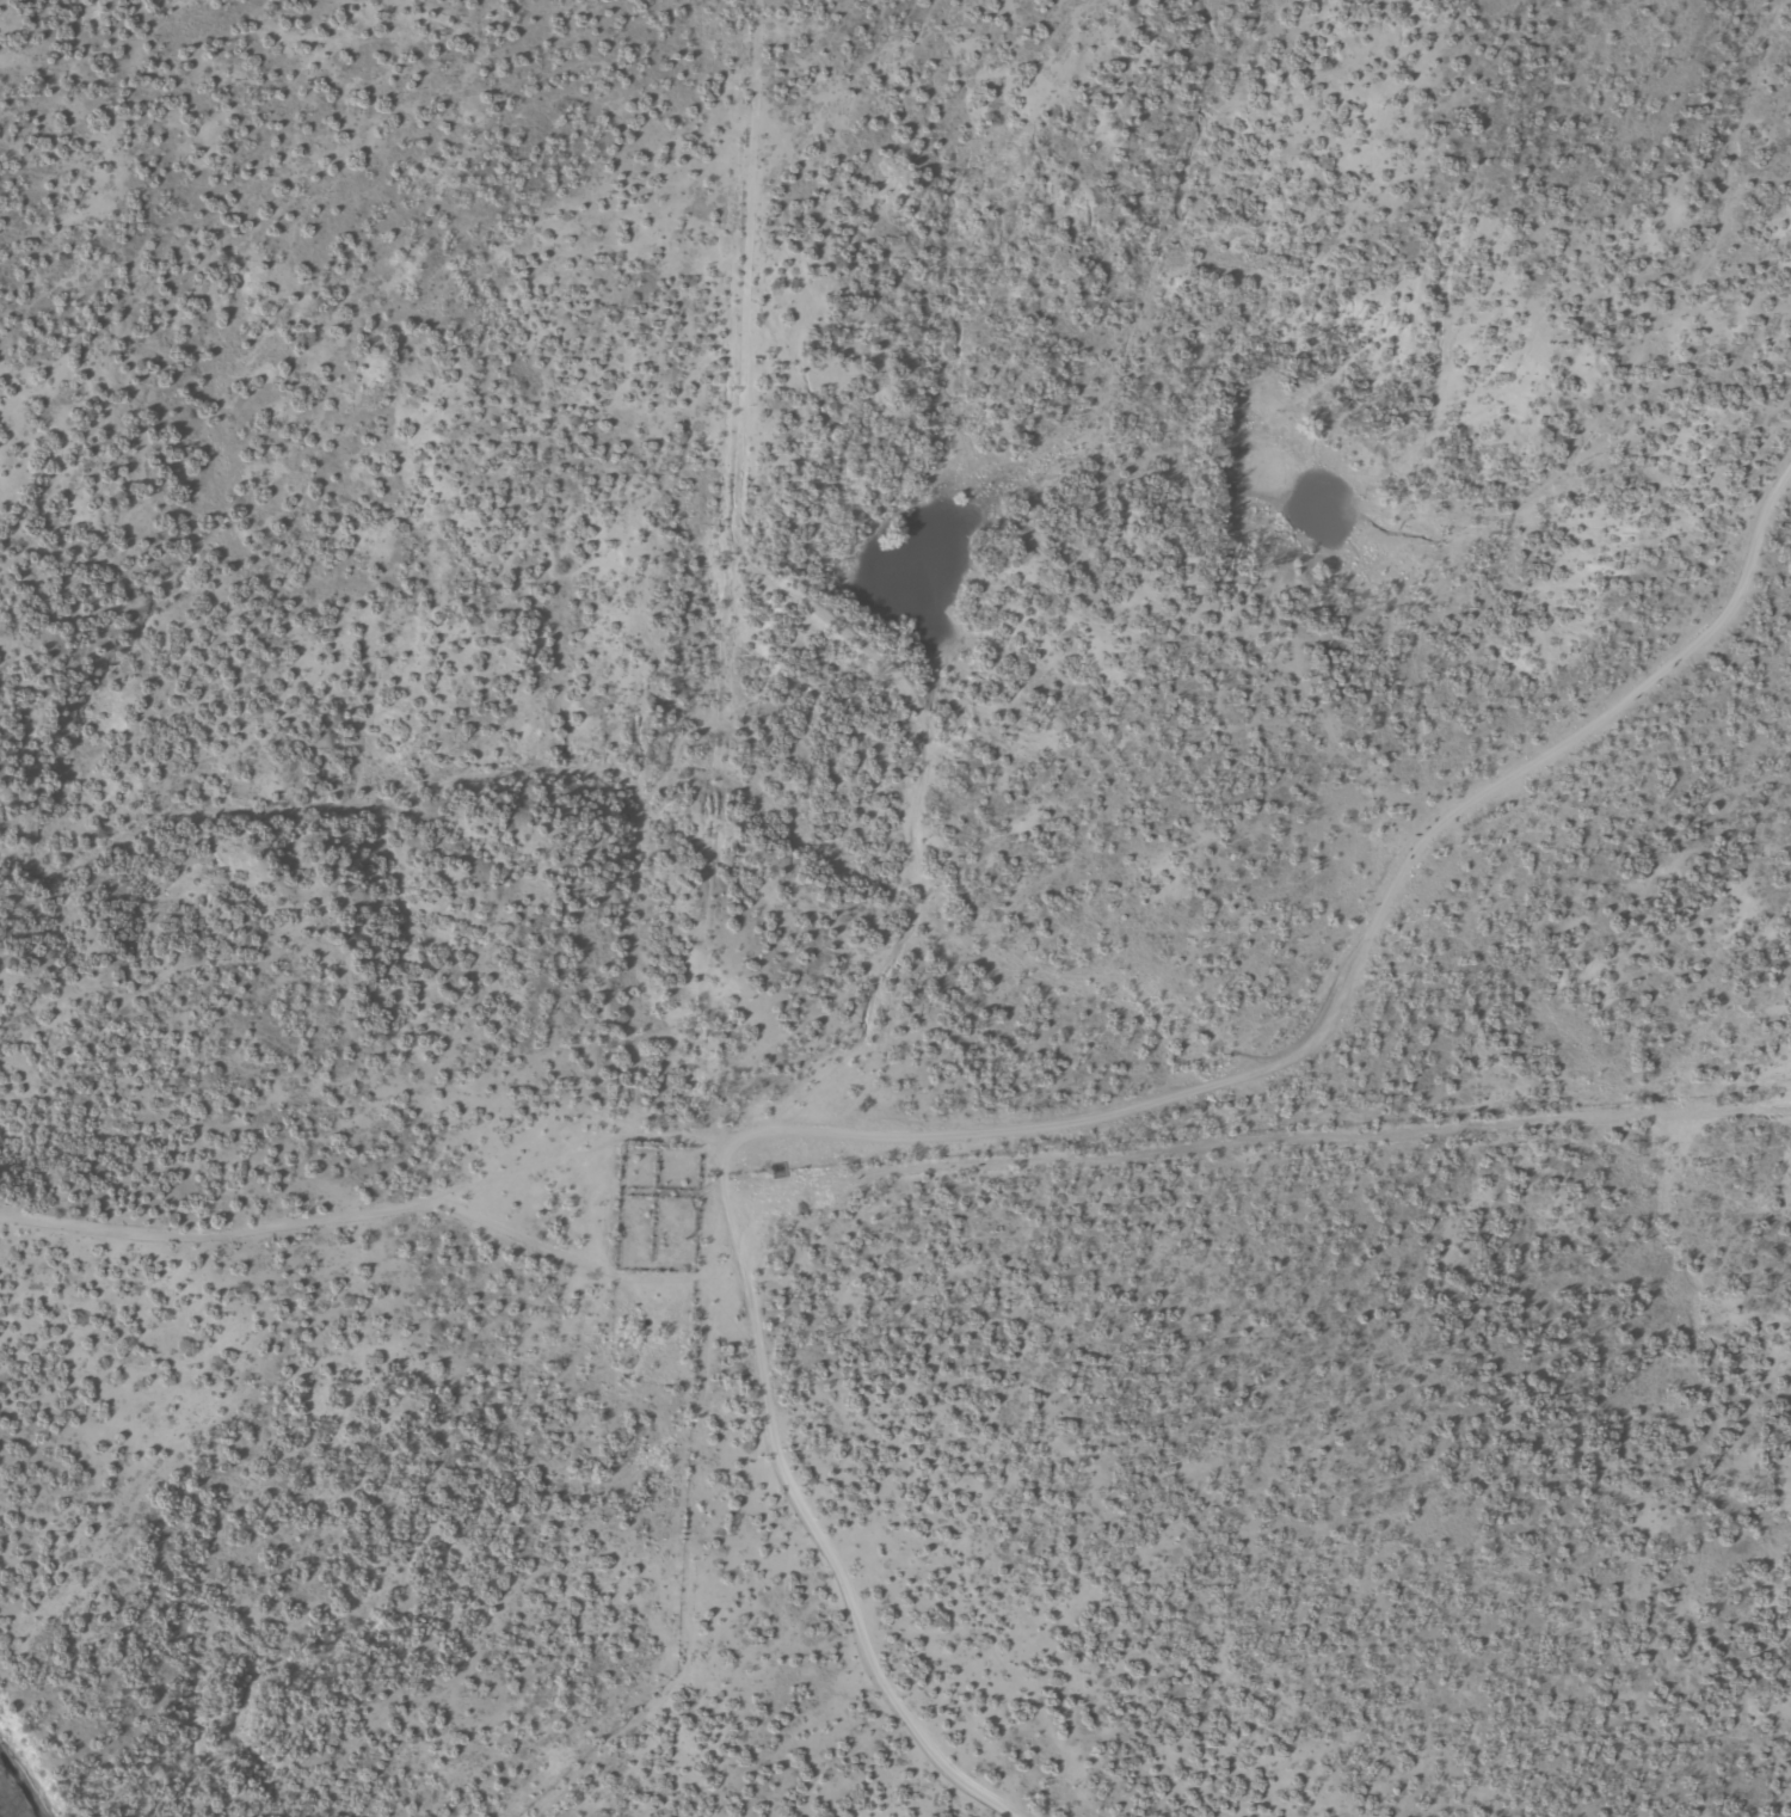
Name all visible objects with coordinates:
road: (1005, 1084)
river: (14, 1795)

